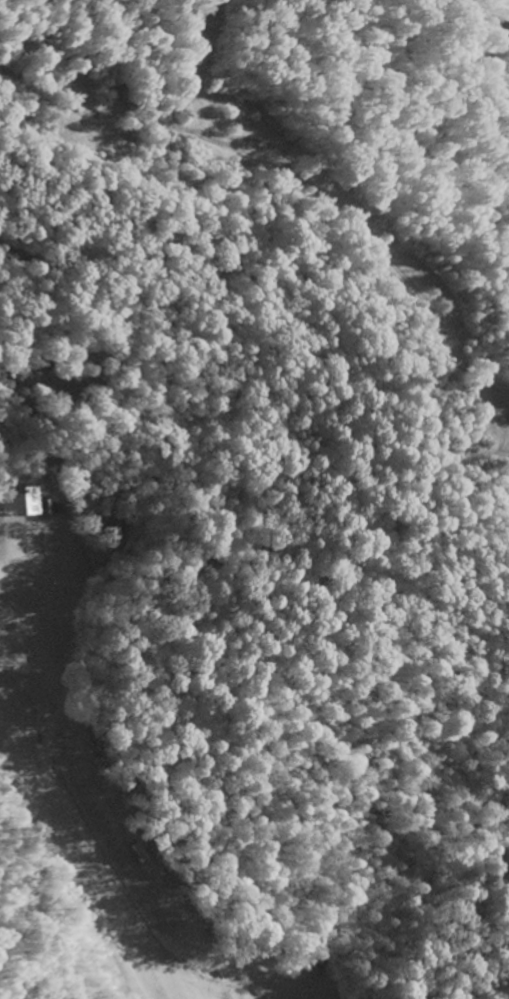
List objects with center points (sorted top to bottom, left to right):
building: (31, 501)

